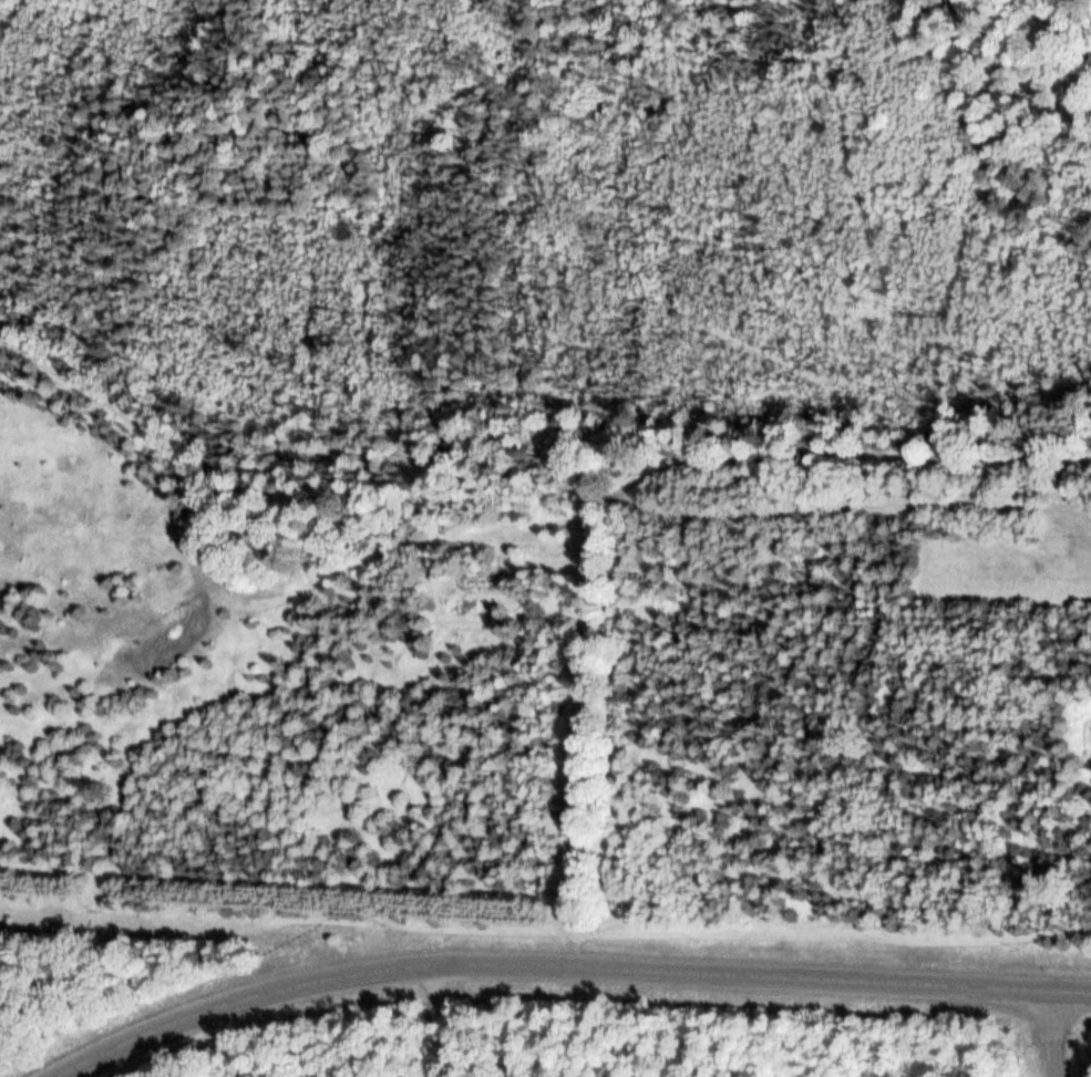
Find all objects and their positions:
road: (565, 967)
road: (1048, 1033)

